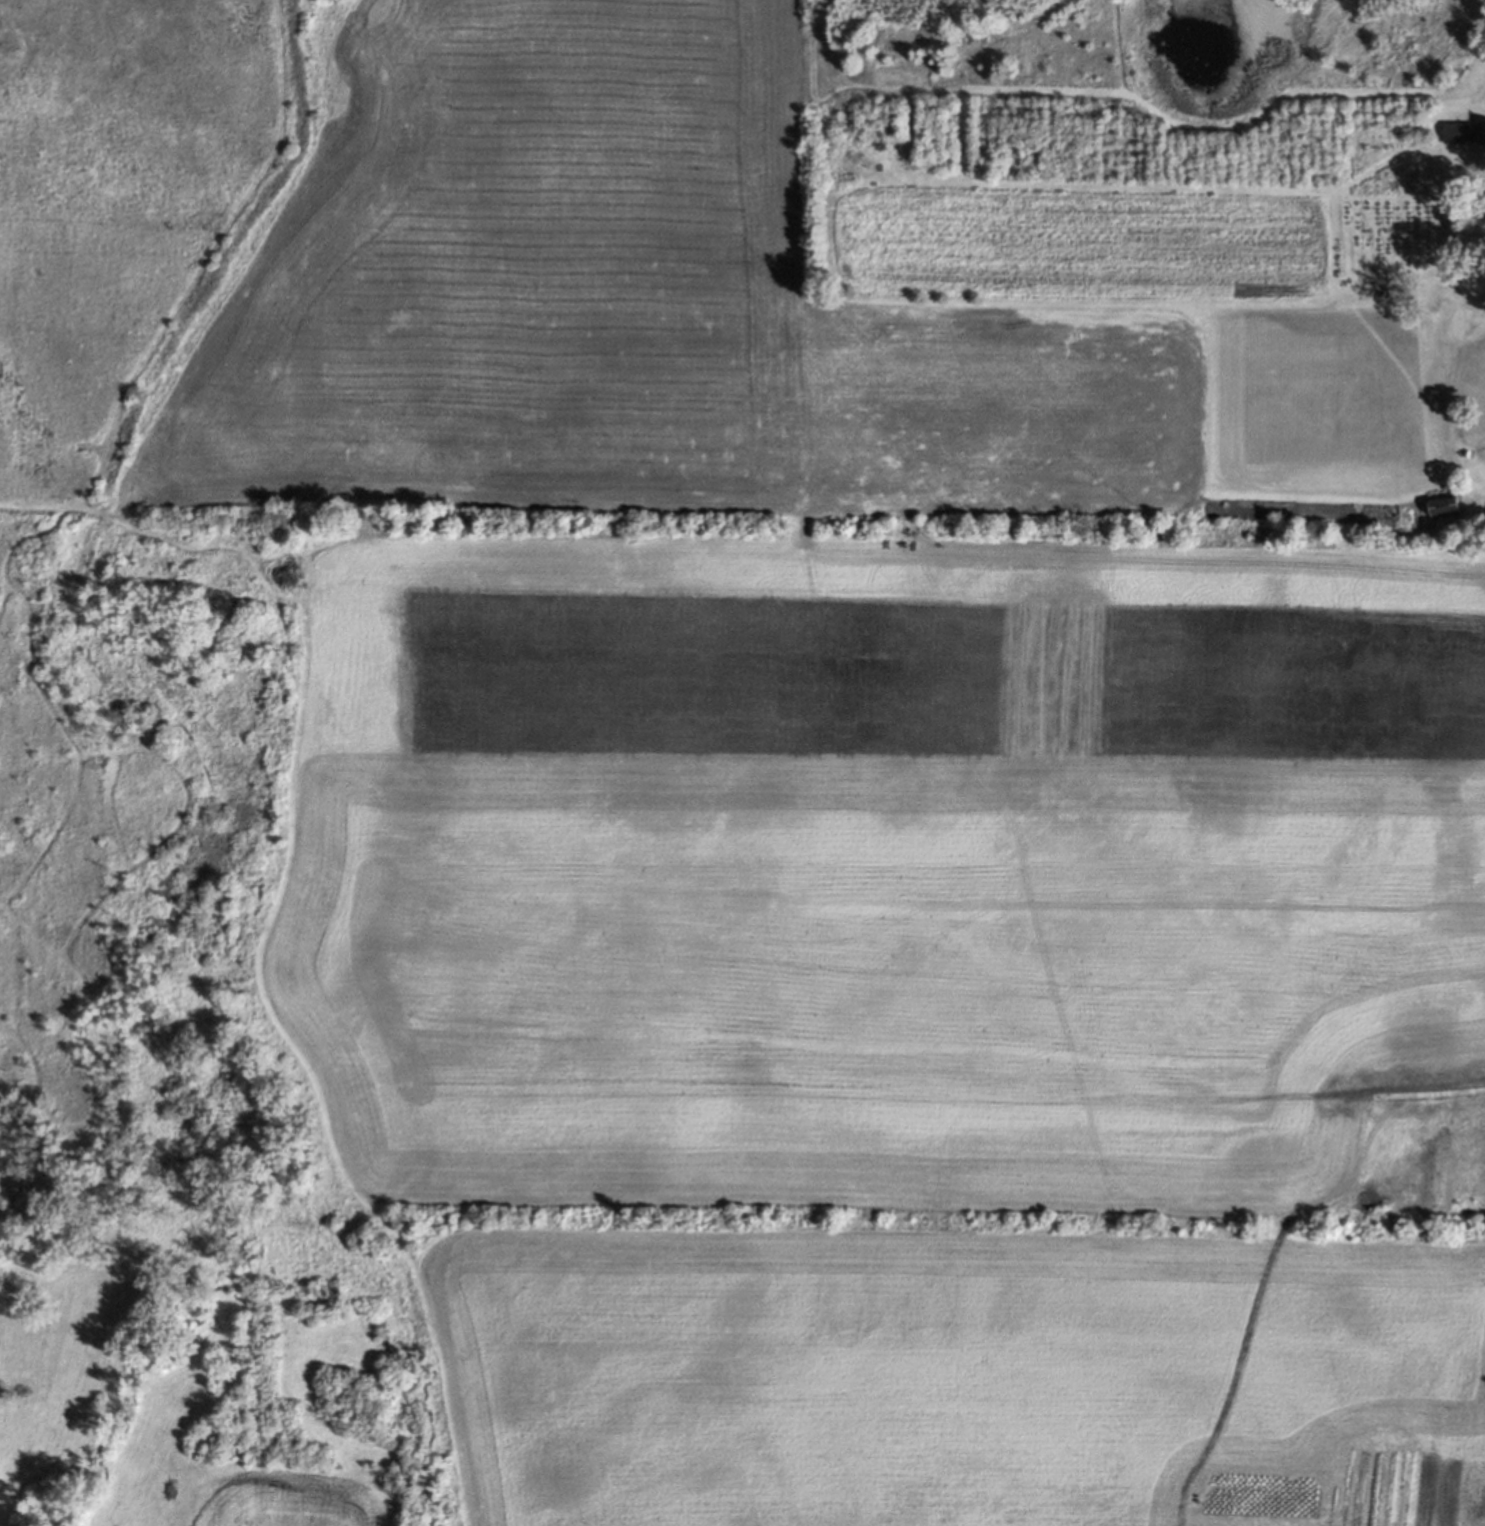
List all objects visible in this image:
building: (1481, 124)
building: (1455, 127)
building: (1441, 503)
crop: (284, 1501)

